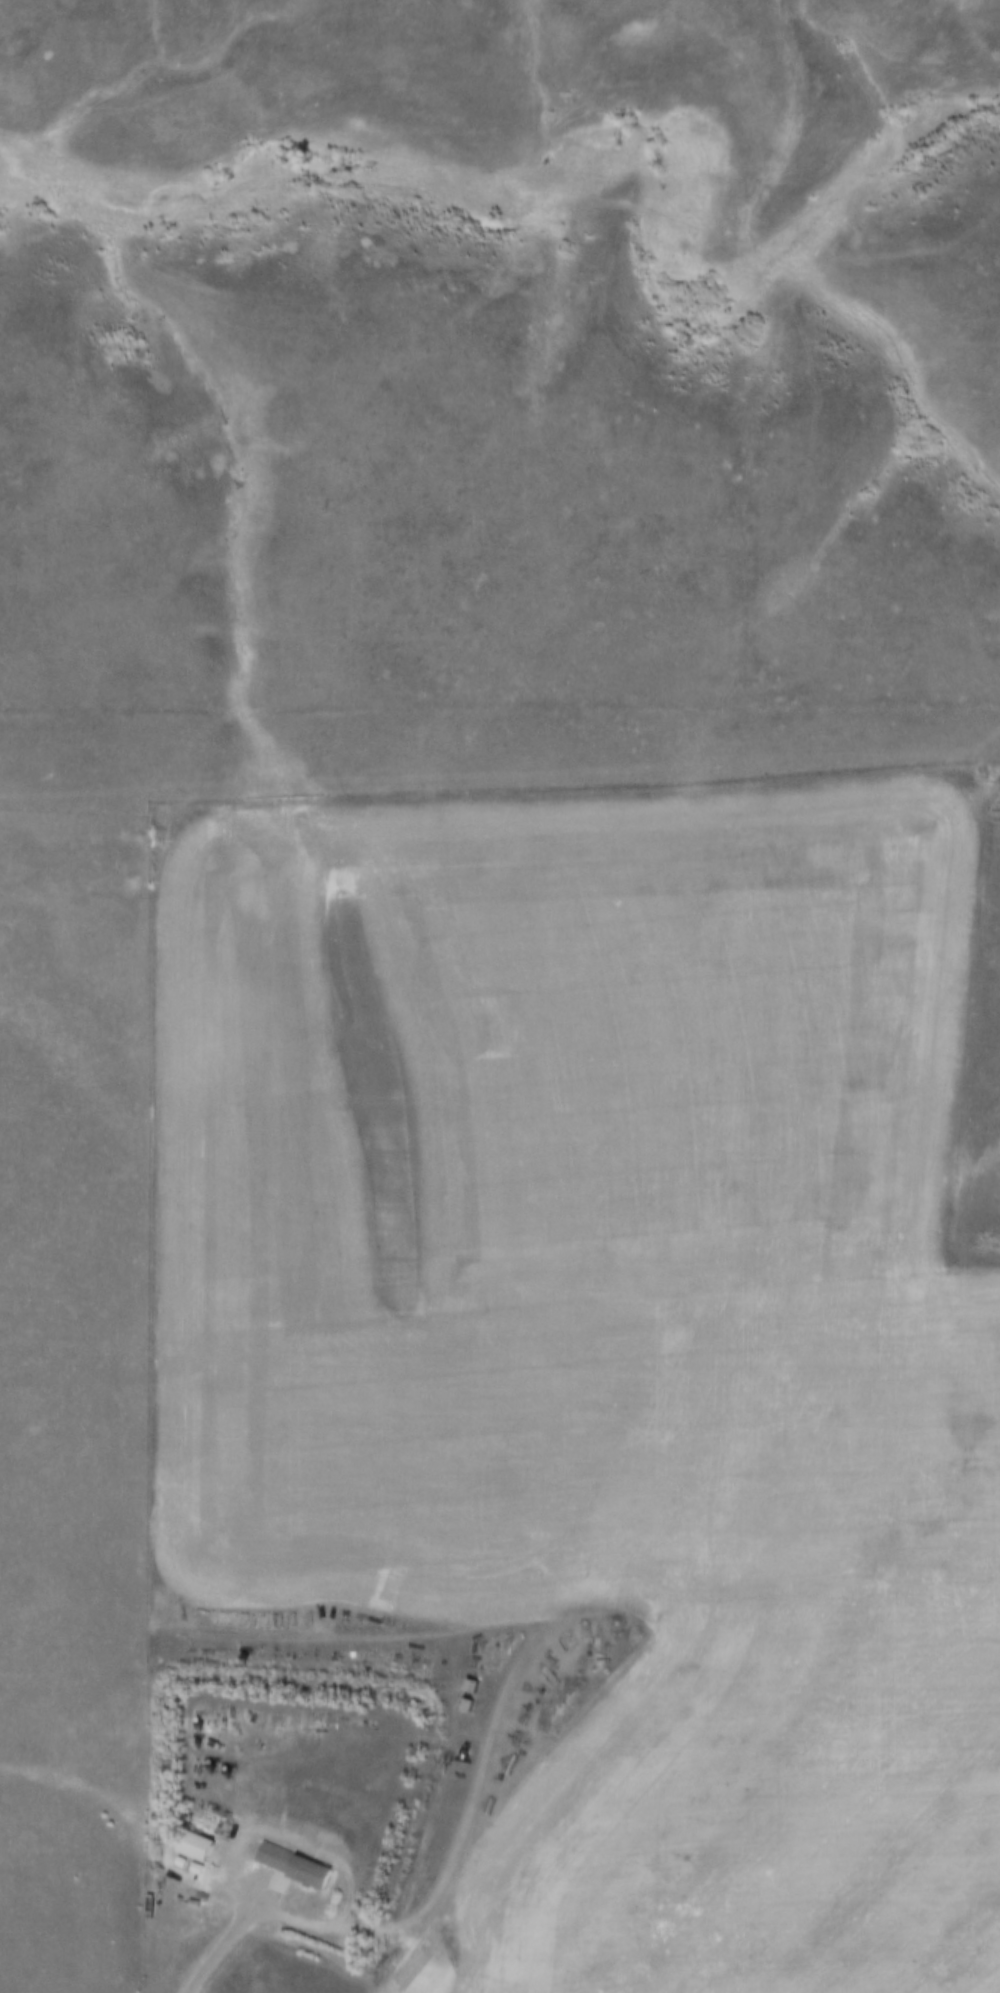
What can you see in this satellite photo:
building: (474, 1685)
building: (469, 1703)
building: (199, 1845)
building: (296, 1864)
road: (223, 1945)

